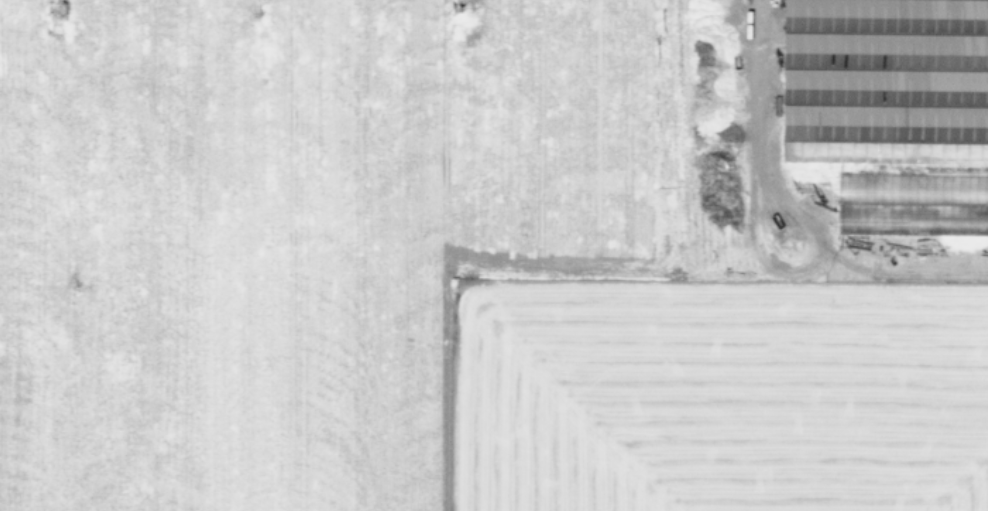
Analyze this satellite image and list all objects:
road: (753, 83)
crop: (494, 255)
road: (800, 265)

